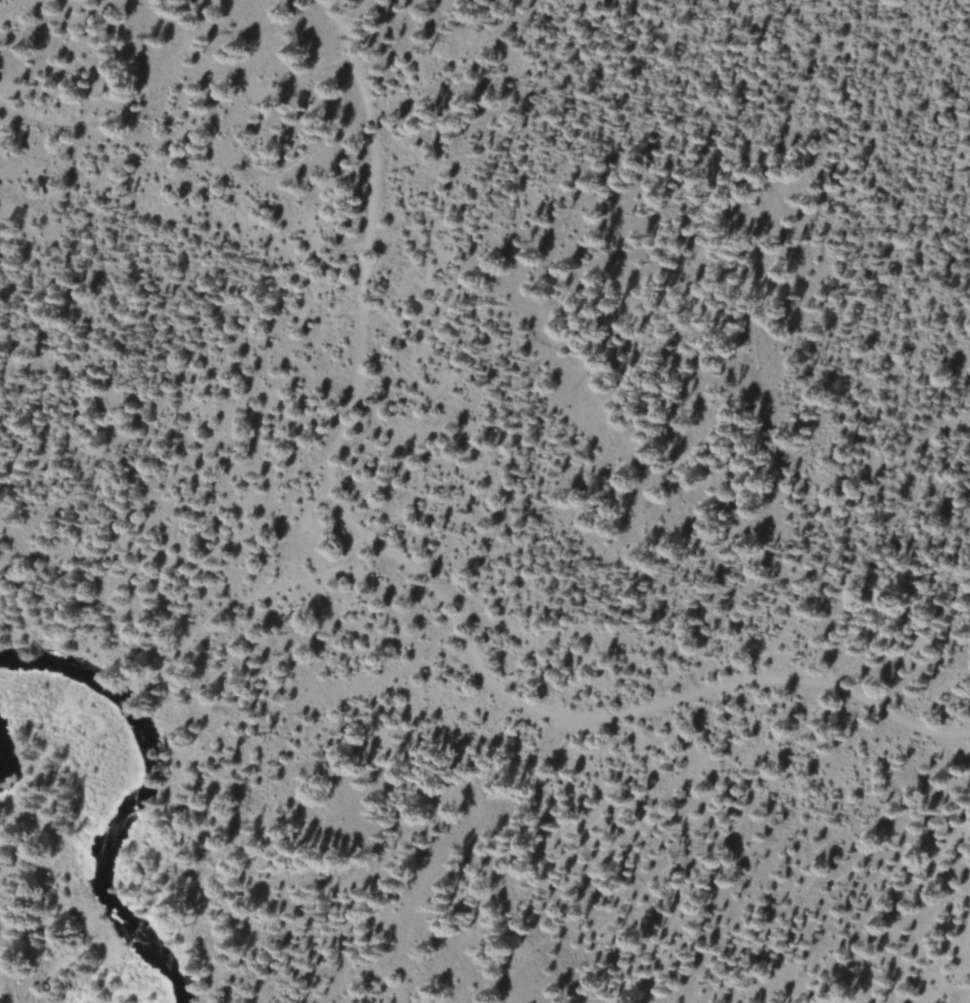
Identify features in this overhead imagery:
road: (419, 581)
river: (111, 805)
road: (37, 912)

